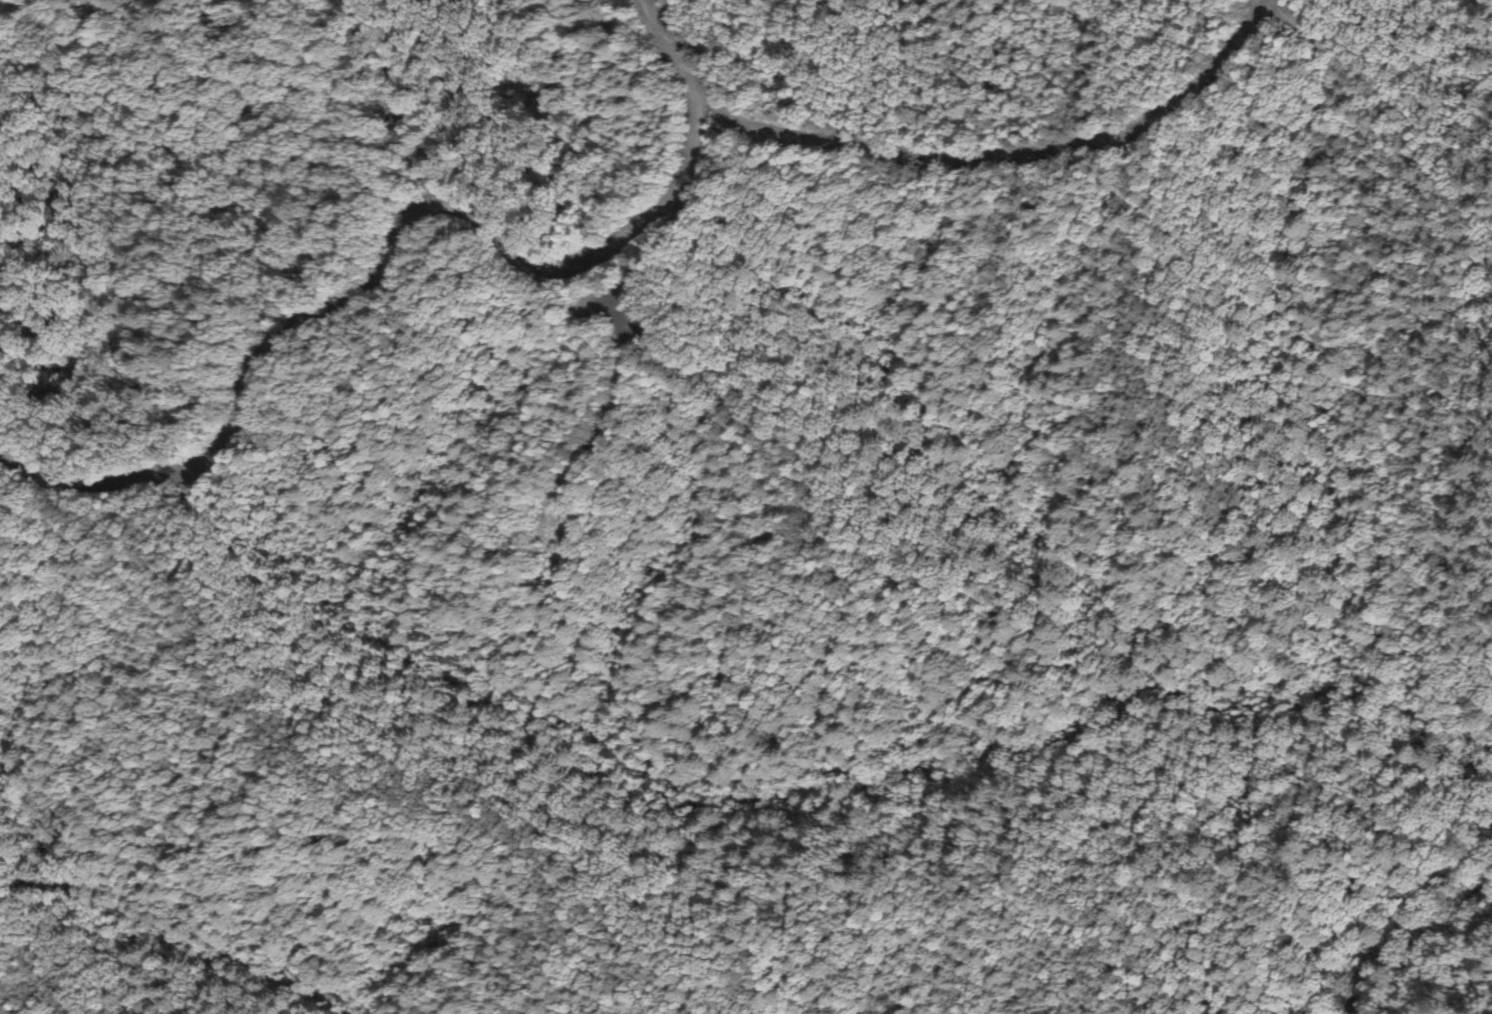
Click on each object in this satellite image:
road: (409, 223)

